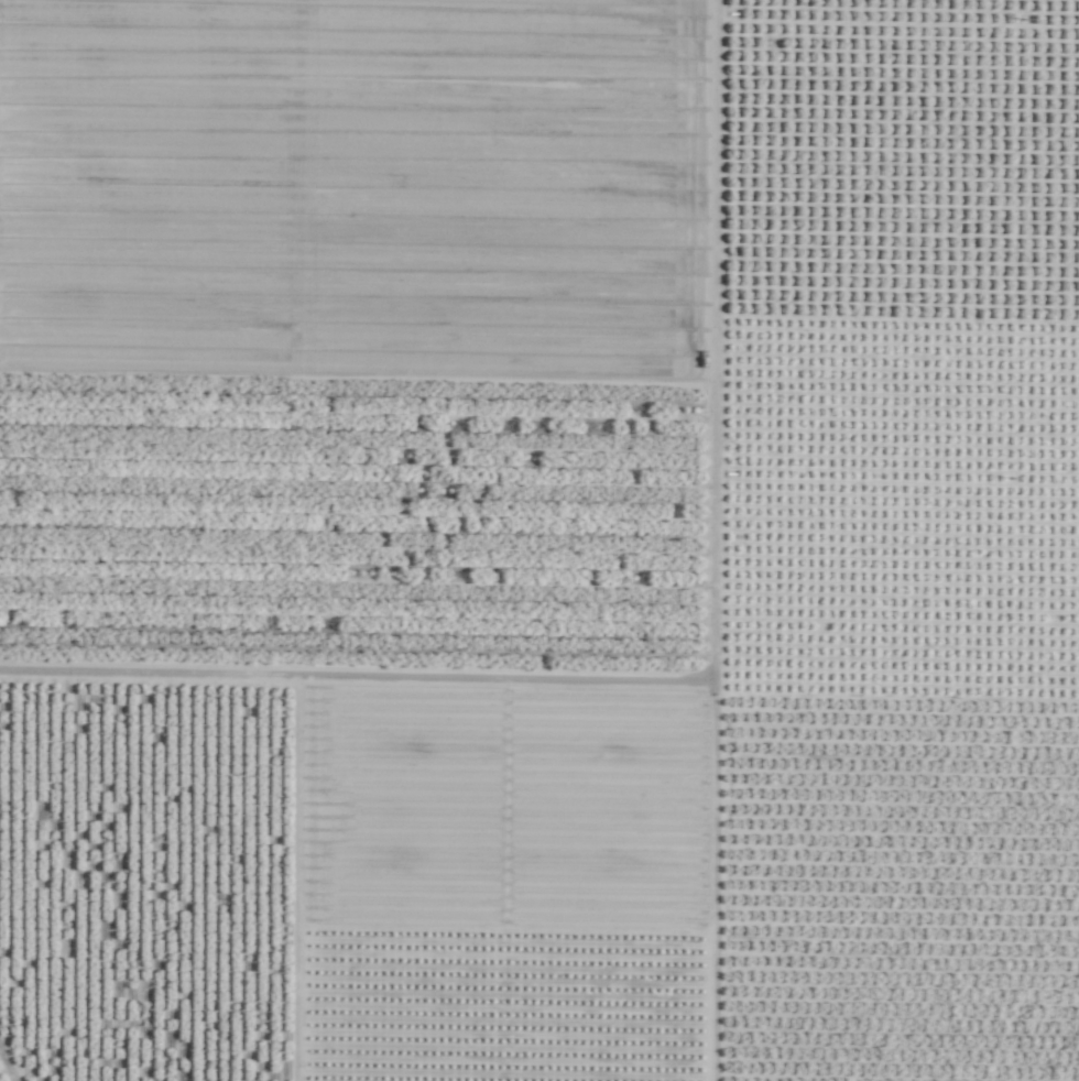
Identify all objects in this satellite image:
road: (8, 1061)

